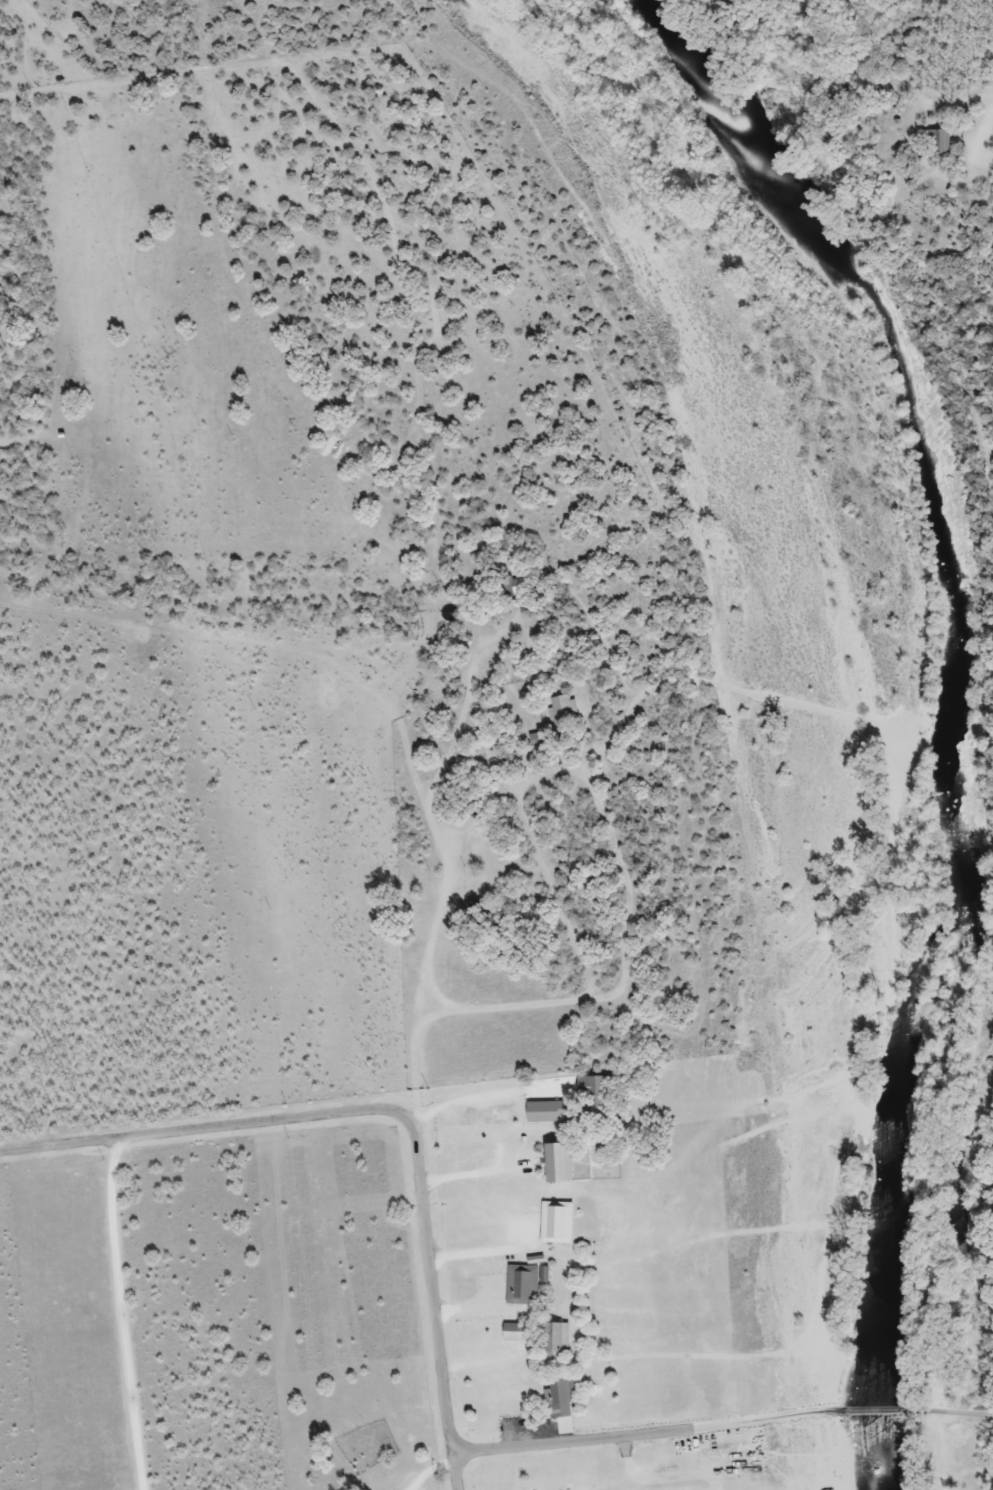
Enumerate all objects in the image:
building: (940, 142)
river: (857, 694)
building: (566, 710)
building: (541, 741)
building: (479, 909)
building: (602, 1086)
road: (373, 1110)
building: (585, 1168)
building: (559, 1222)
building: (527, 1283)
road: (122, 1313)
building: (517, 1332)
building: (558, 1341)
building: (563, 1396)
road: (815, 1413)
road: (965, 1413)
road: (574, 1442)
road: (455, 1471)

